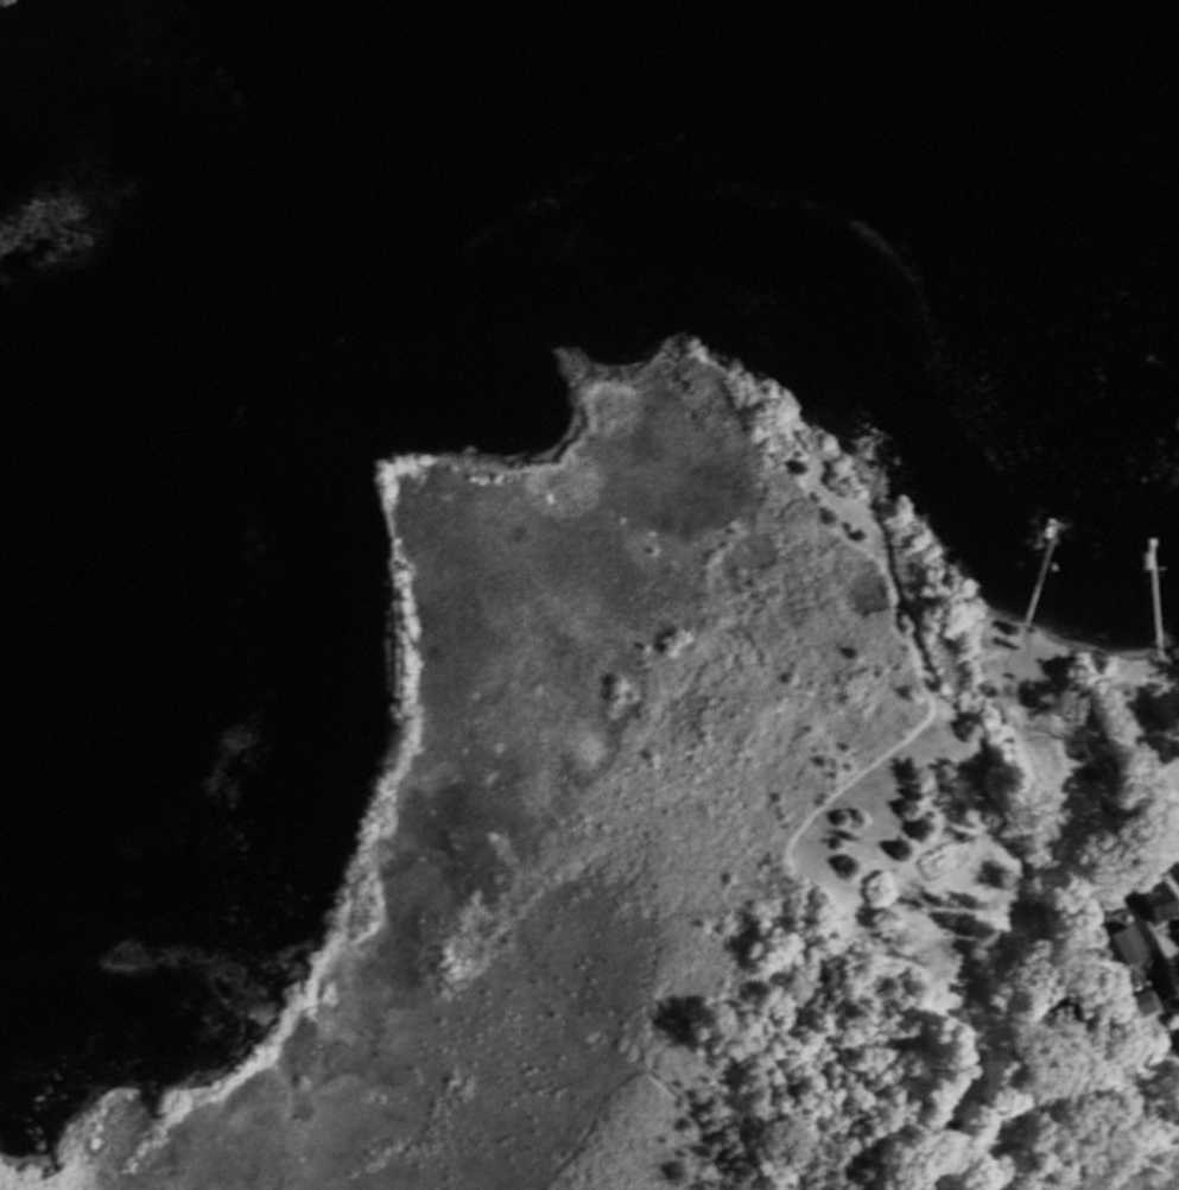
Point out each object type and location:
building: (1132, 950)
building: (1145, 1006)
road: (1089, 1096)

